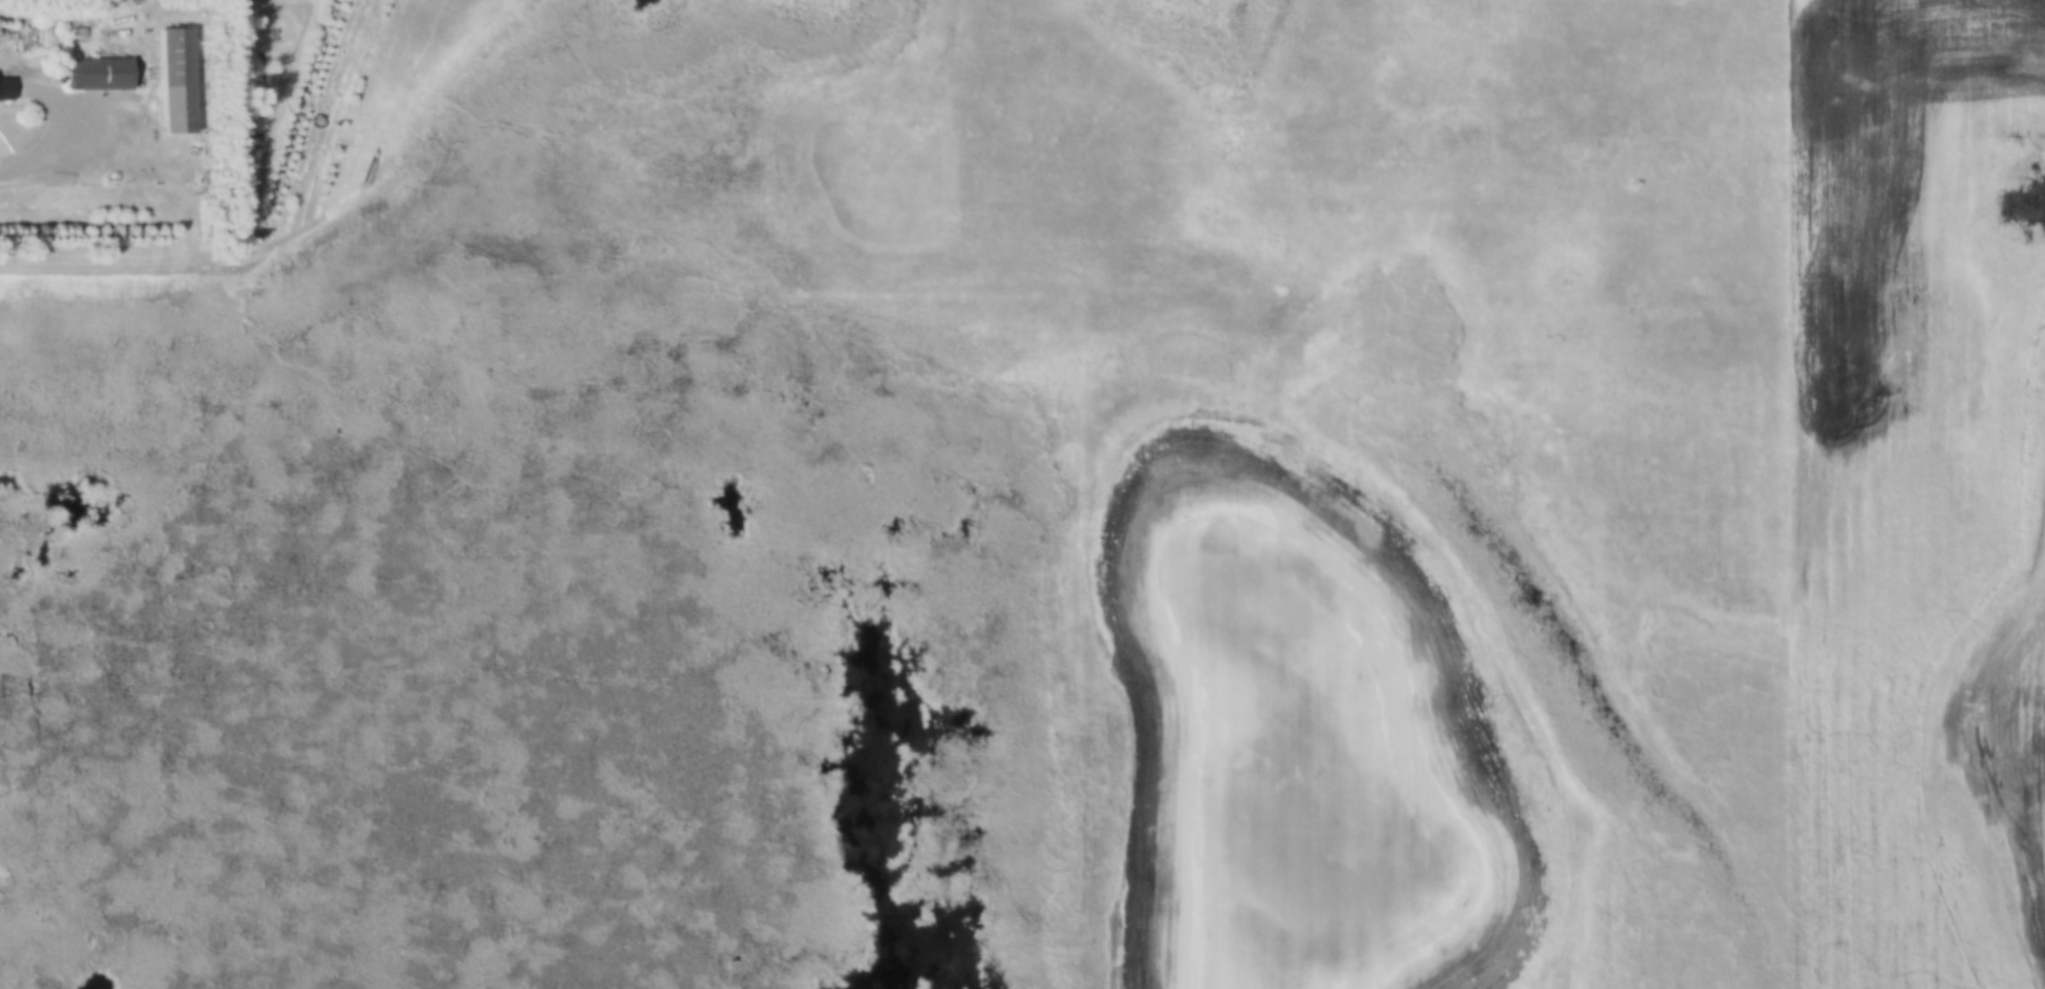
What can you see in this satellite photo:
building: (98, 66)
building: (168, 70)
building: (6, 90)
road: (47, 142)

